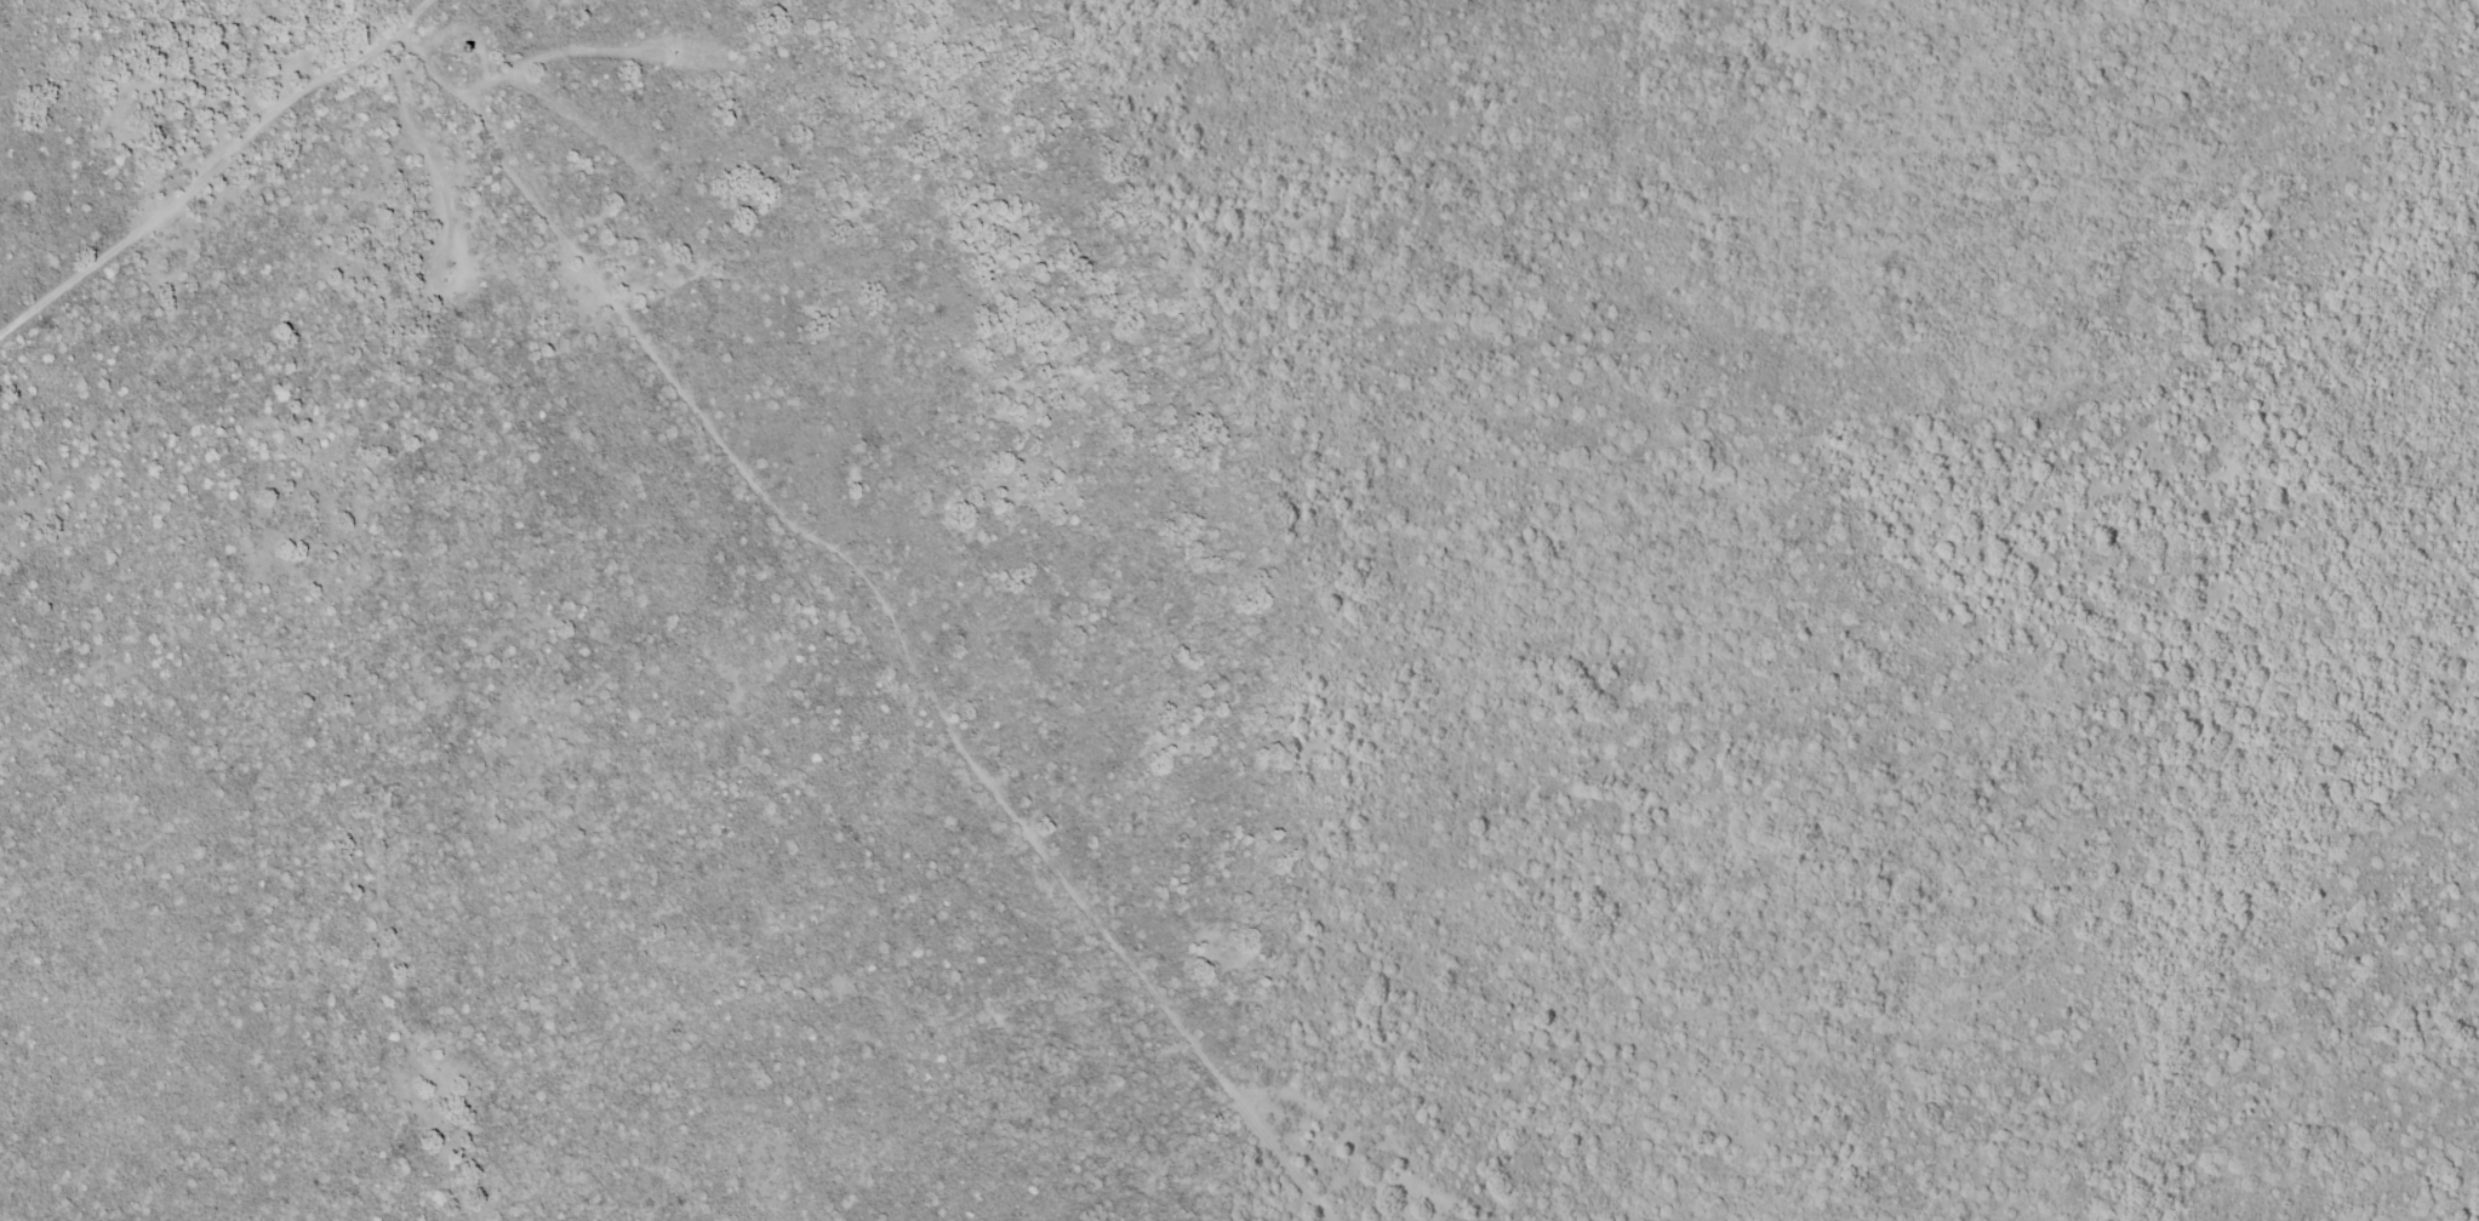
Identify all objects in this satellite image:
road: (417, 8)
road: (204, 181)

